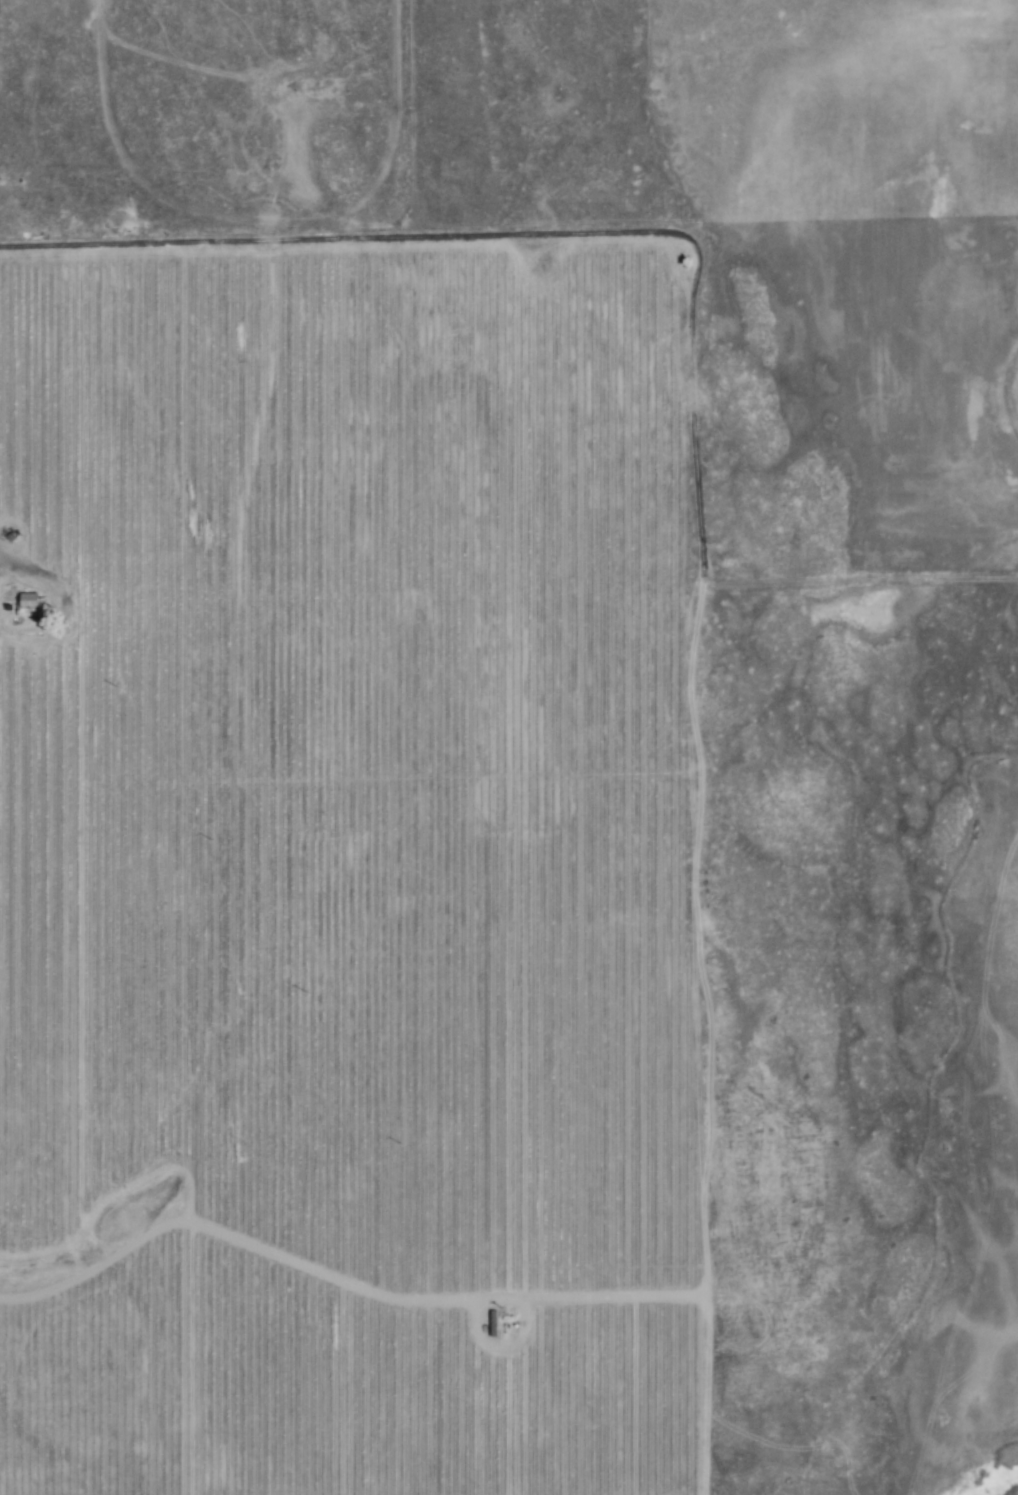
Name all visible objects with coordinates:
road: (13, 561)

